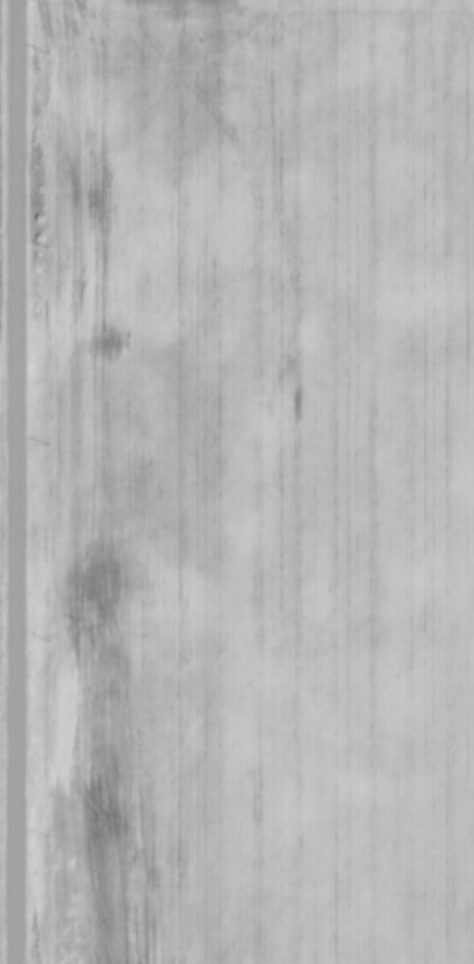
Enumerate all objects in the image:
road: (16, 482)

